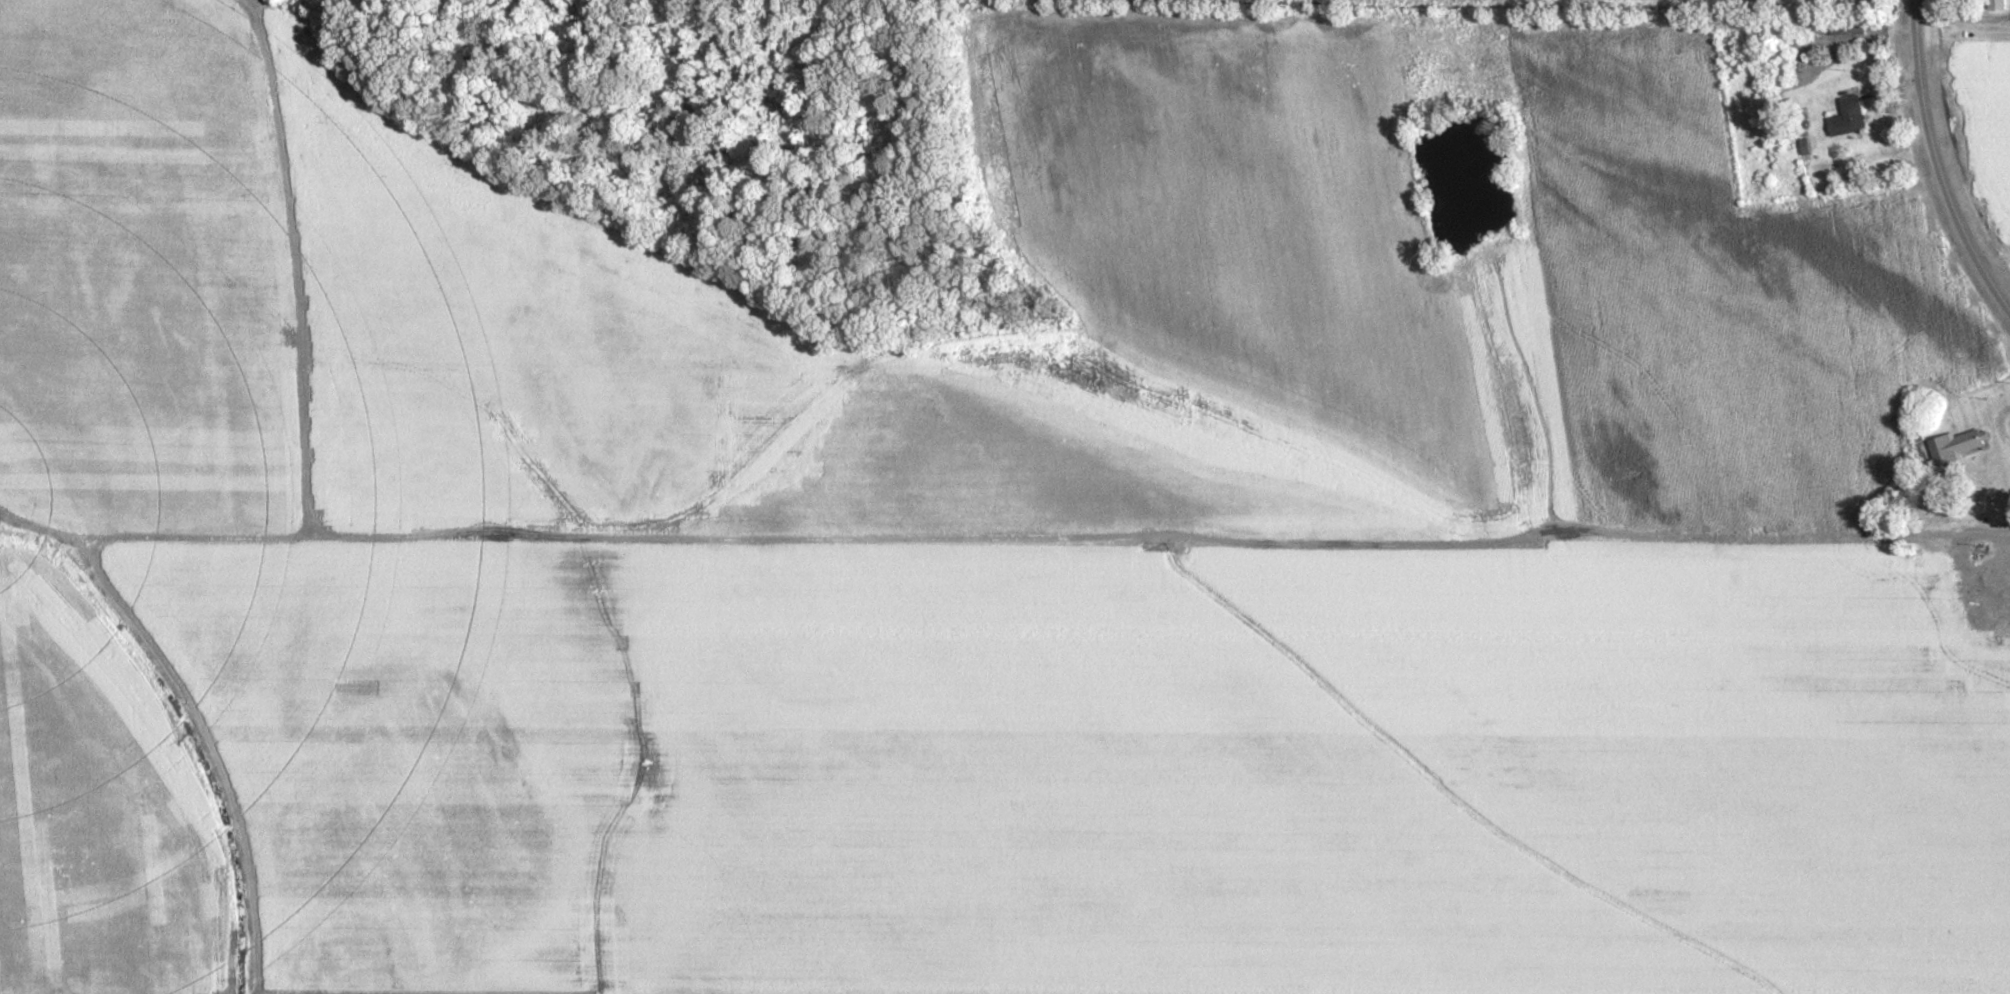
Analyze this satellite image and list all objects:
building: (1995, 6)
building: (1845, 120)
road: (1933, 163)
building: (1953, 449)

